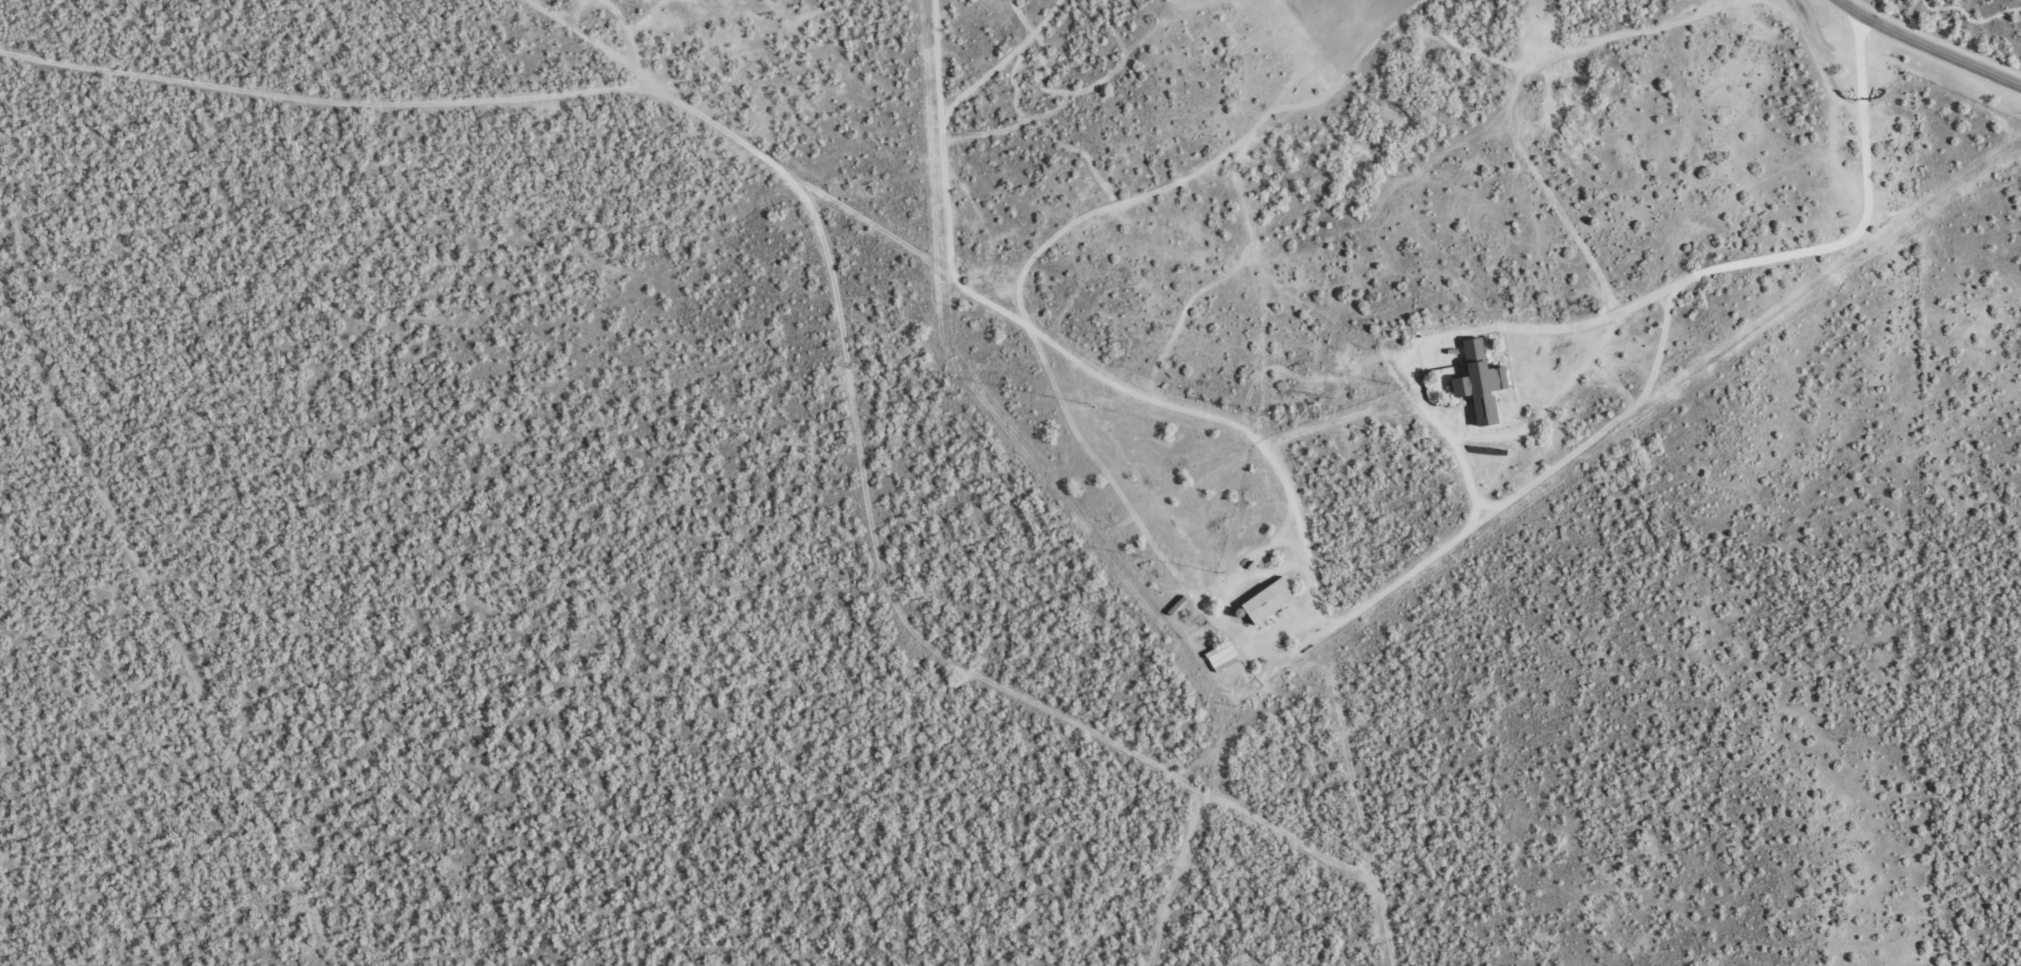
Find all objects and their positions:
road: (1927, 46)
road: (903, 248)
building: (1477, 382)
building: (1265, 600)
road: (173, 631)
building: (1221, 657)

